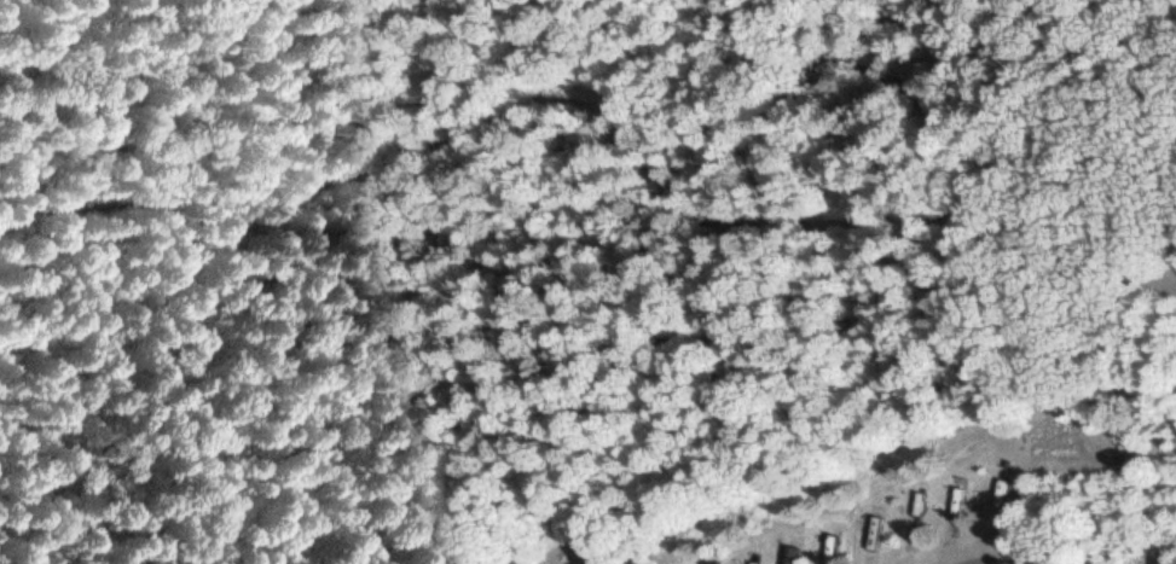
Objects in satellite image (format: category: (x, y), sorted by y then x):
building: (879, 535)
building: (836, 543)
building: (796, 554)
road: (968, 559)

